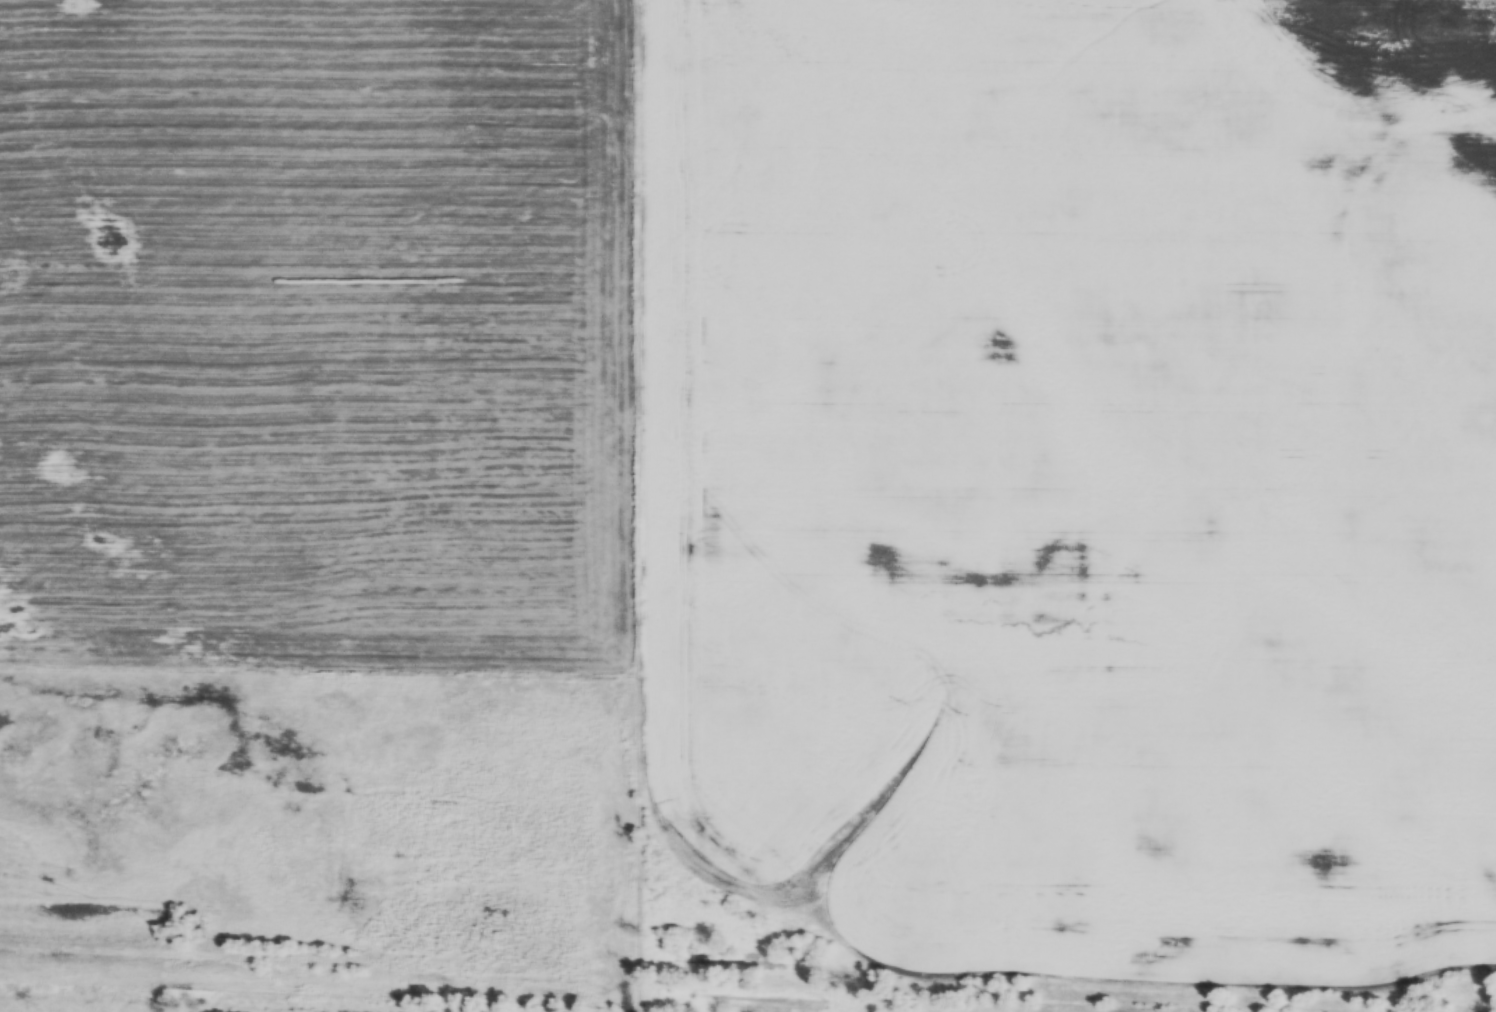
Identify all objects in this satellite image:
road: (633, 506)

